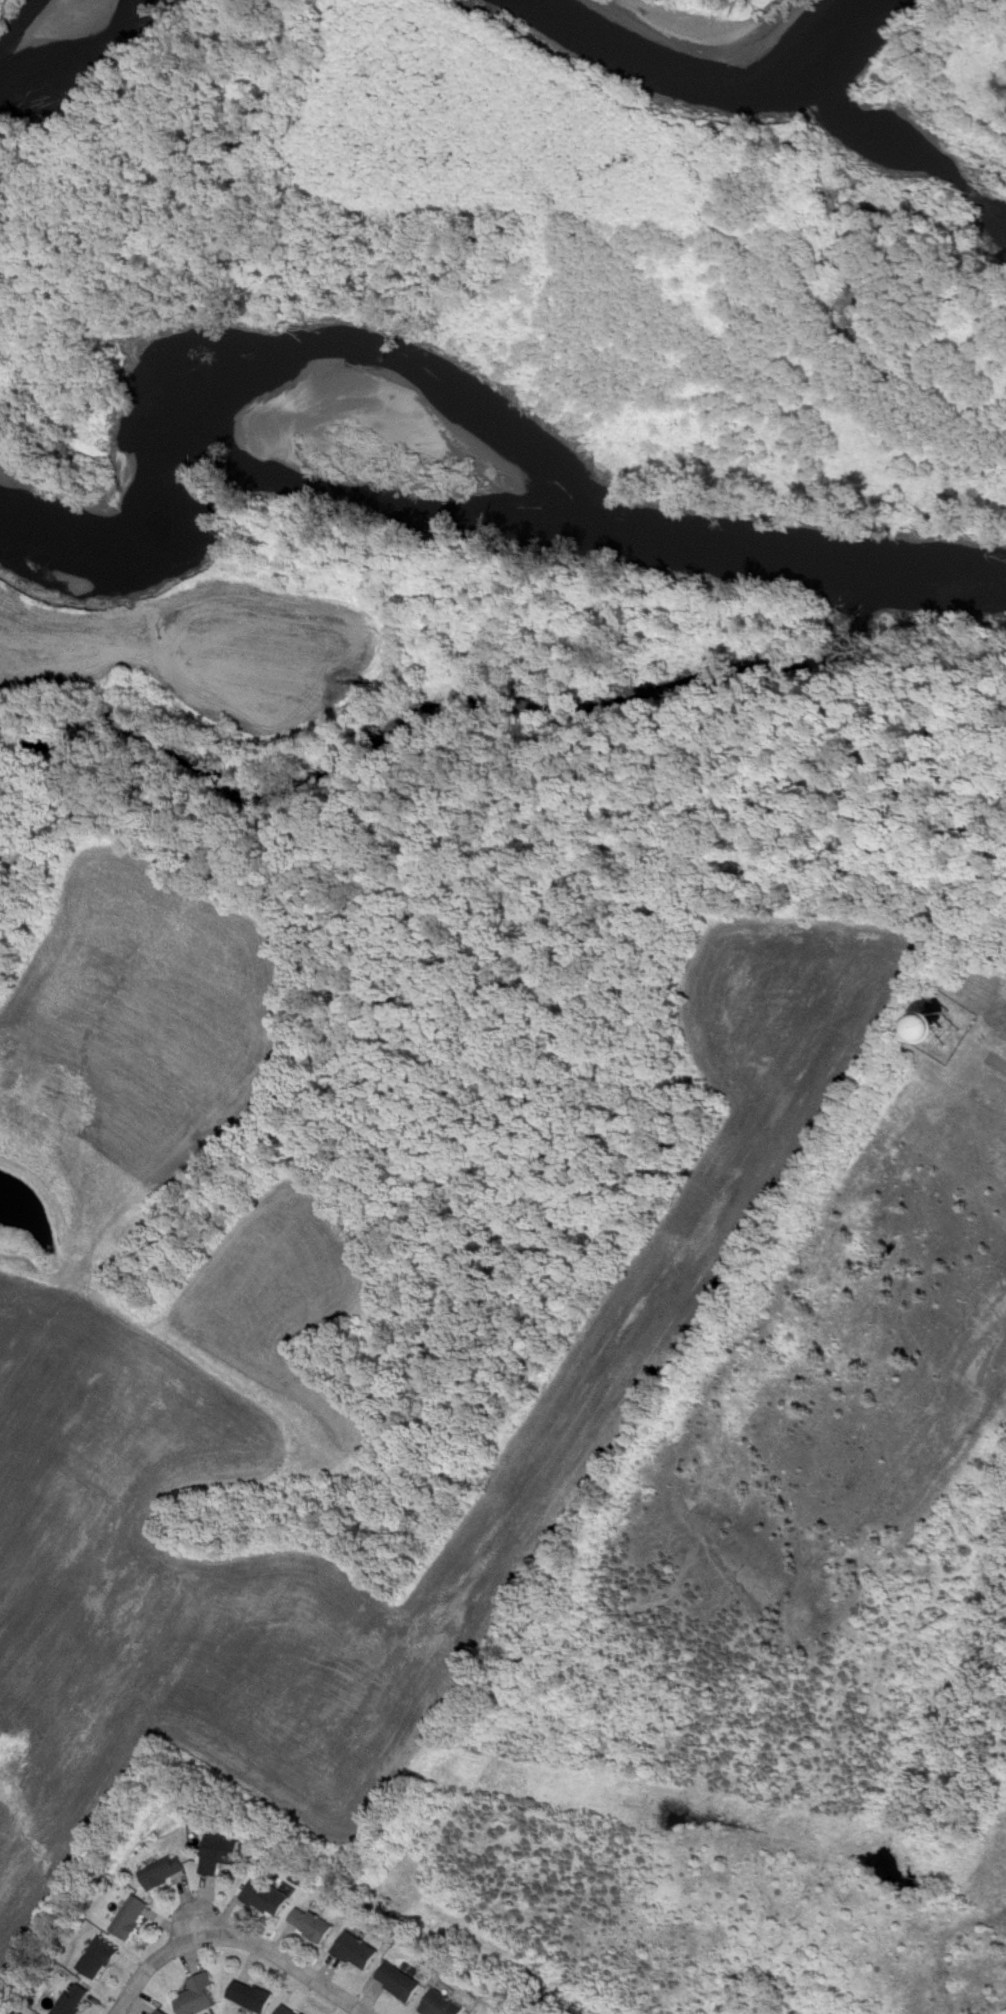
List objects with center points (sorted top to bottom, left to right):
river: (30, 27)
river: (731, 32)
river: (466, 477)
water tower: (933, 1026)
road: (997, 1068)
building: (215, 1851)
building: (160, 1872)
building: (262, 1898)
building: (127, 1918)
building: (307, 1925)
road: (230, 1944)
building: (352, 1952)
building: (94, 1959)
building: (394, 1982)
building: (195, 1996)
building: (69, 2000)
building: (437, 2004)
building: (284, 2010)
building: (156, 2012)

